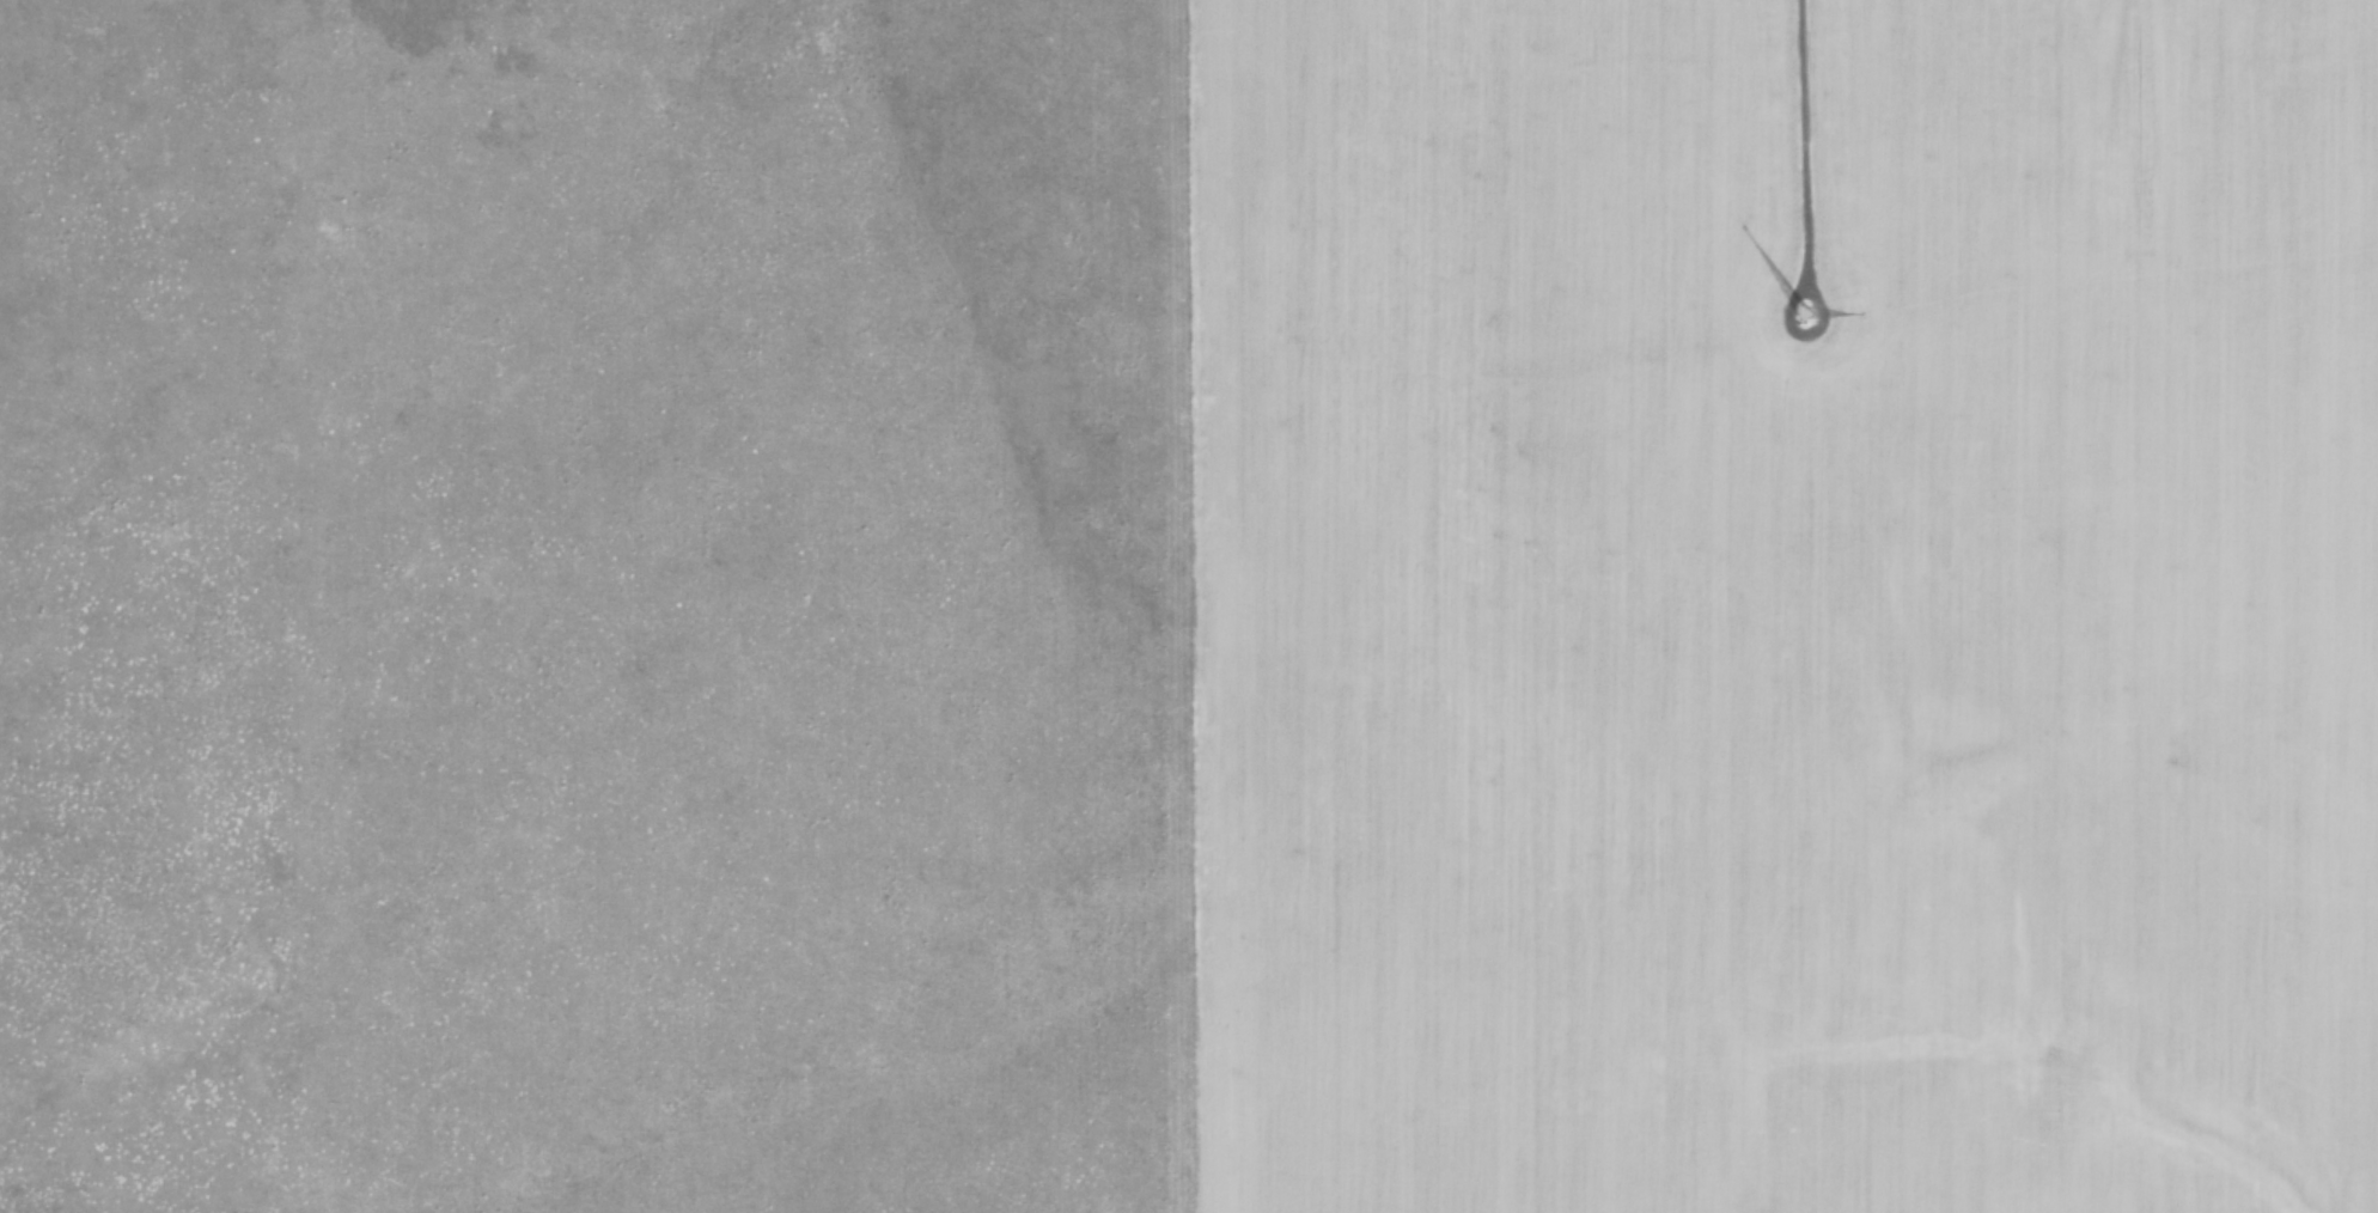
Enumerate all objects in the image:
road: (1800, 133)

